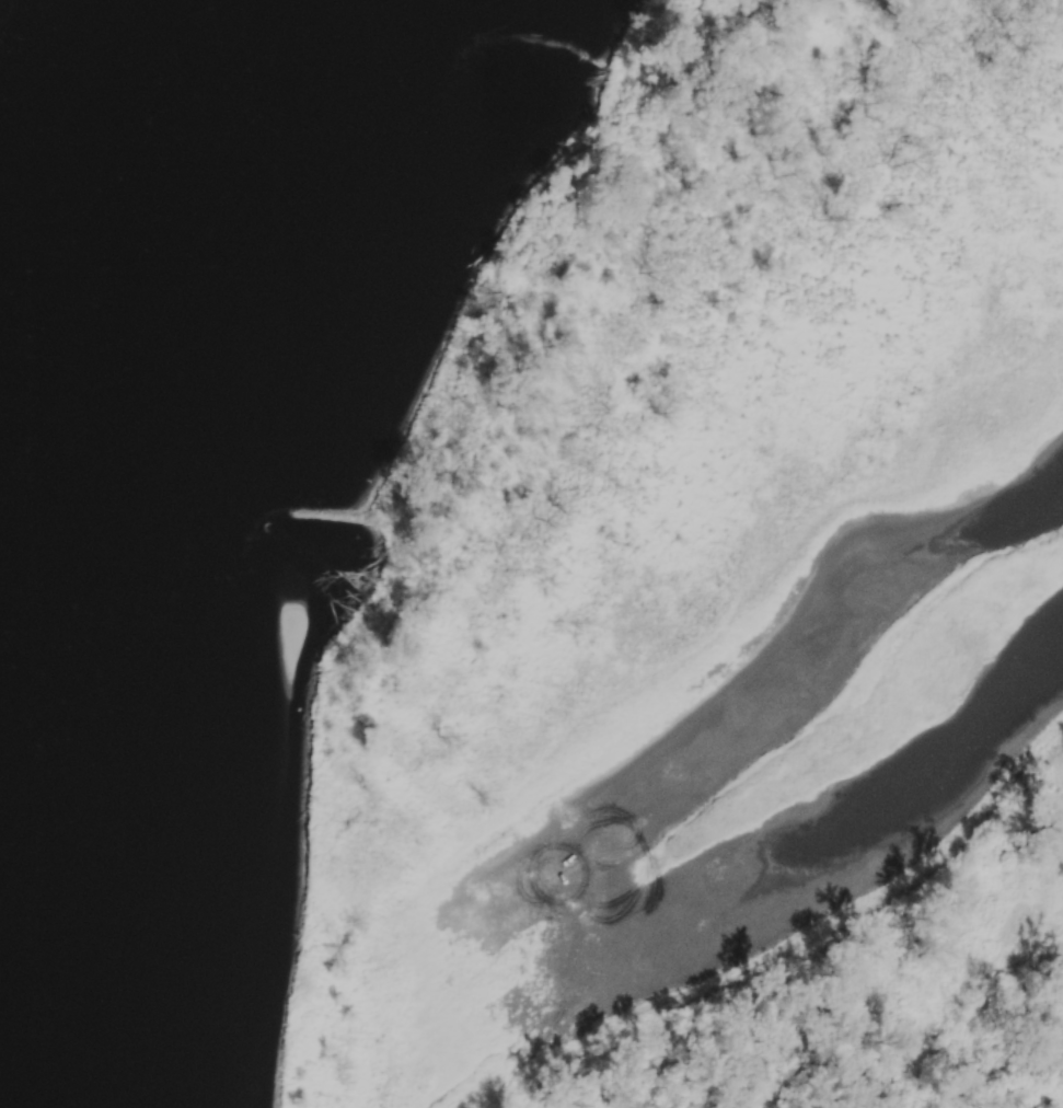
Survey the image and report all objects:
river: (74, 403)

